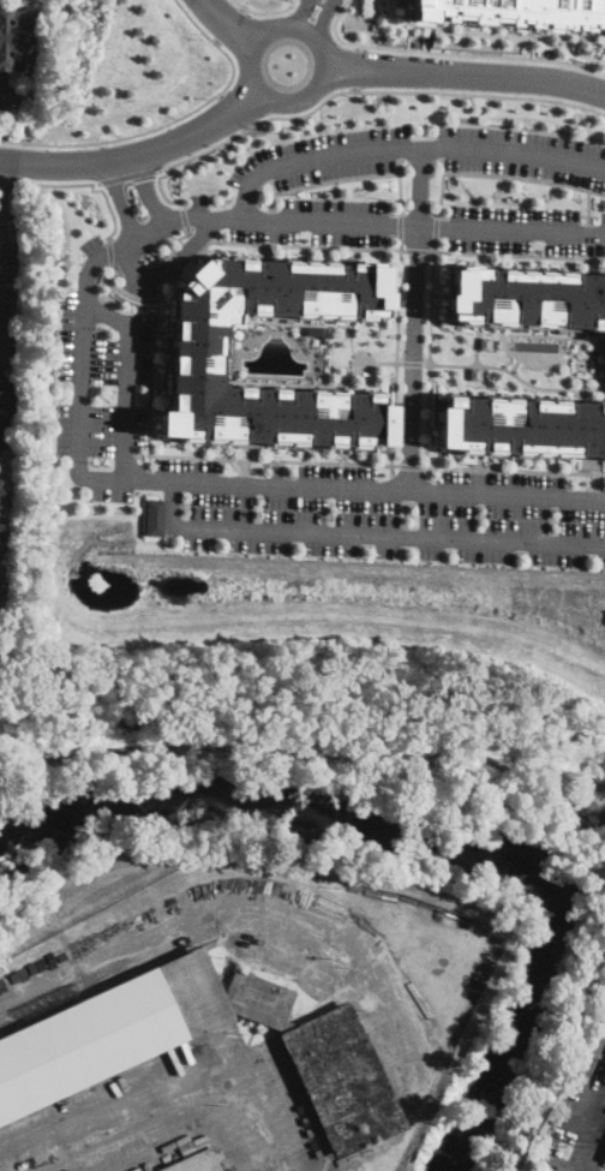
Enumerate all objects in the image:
road: (259, 4)
road: (342, 6)
road: (324, 7)
road: (263, 11)
building: (515, 11)
road: (300, 13)
road: (322, 18)
road: (226, 23)
road: (226, 25)
road: (495, 32)
road: (311, 36)
building: (14, 38)
road: (459, 52)
road: (355, 66)
road: (466, 76)
road: (378, 90)
road: (6, 97)
parking lot: (13, 101)
road: (234, 108)
road: (179, 114)
road: (10, 141)
road: (405, 147)
parking lot: (423, 154)
road: (137, 155)
road: (163, 167)
road: (127, 173)
road: (525, 177)
road: (327, 180)
road: (95, 181)
road: (272, 184)
road: (399, 185)
road: (444, 185)
road: (145, 186)
road: (421, 186)
road: (91, 187)
road: (1, 189)
road: (160, 189)
road: (120, 198)
road: (588, 205)
road: (182, 215)
road: (289, 220)
parking lot: (415, 221)
road: (269, 226)
road: (400, 226)
road: (437, 227)
road: (511, 229)
road: (173, 237)
road: (587, 239)
road: (401, 243)
road: (436, 244)
road: (403, 249)
road: (418, 249)
road: (432, 250)
road: (107, 251)
road: (164, 267)
road: (435, 271)
parking lot: (8, 283)
road: (130, 294)
building: (529, 295)
road: (339, 324)
road: (82, 327)
road: (513, 331)
building: (486, 342)
building: (193, 352)
road: (413, 359)
road: (413, 363)
building: (475, 372)
road: (515, 374)
road: (122, 377)
road: (301, 383)
parking lot: (100, 394)
road: (5, 400)
building: (525, 426)
parking lot: (5, 444)
road: (8, 448)
road: (391, 453)
road: (138, 456)
road: (242, 458)
road: (145, 460)
road: (395, 464)
road: (412, 465)
road: (509, 468)
road: (390, 470)
road: (593, 472)
building: (0, 482)
road: (340, 490)
building: (0, 497)
parking lot: (382, 510)
building: (149, 513)
building: (0, 531)
road: (366, 533)
building: (0, 578)
road: (29, 731)
road: (301, 749)
park: (348, 829)
road: (292, 920)
building: (77, 1053)
building: (603, 1076)
building: (604, 1080)
parking lot: (579, 1107)
road: (594, 1107)
road: (182, 1117)
building: (604, 1159)
building: (604, 1161)
building: (194, 1163)
road: (571, 1170)
road: (575, 1170)

